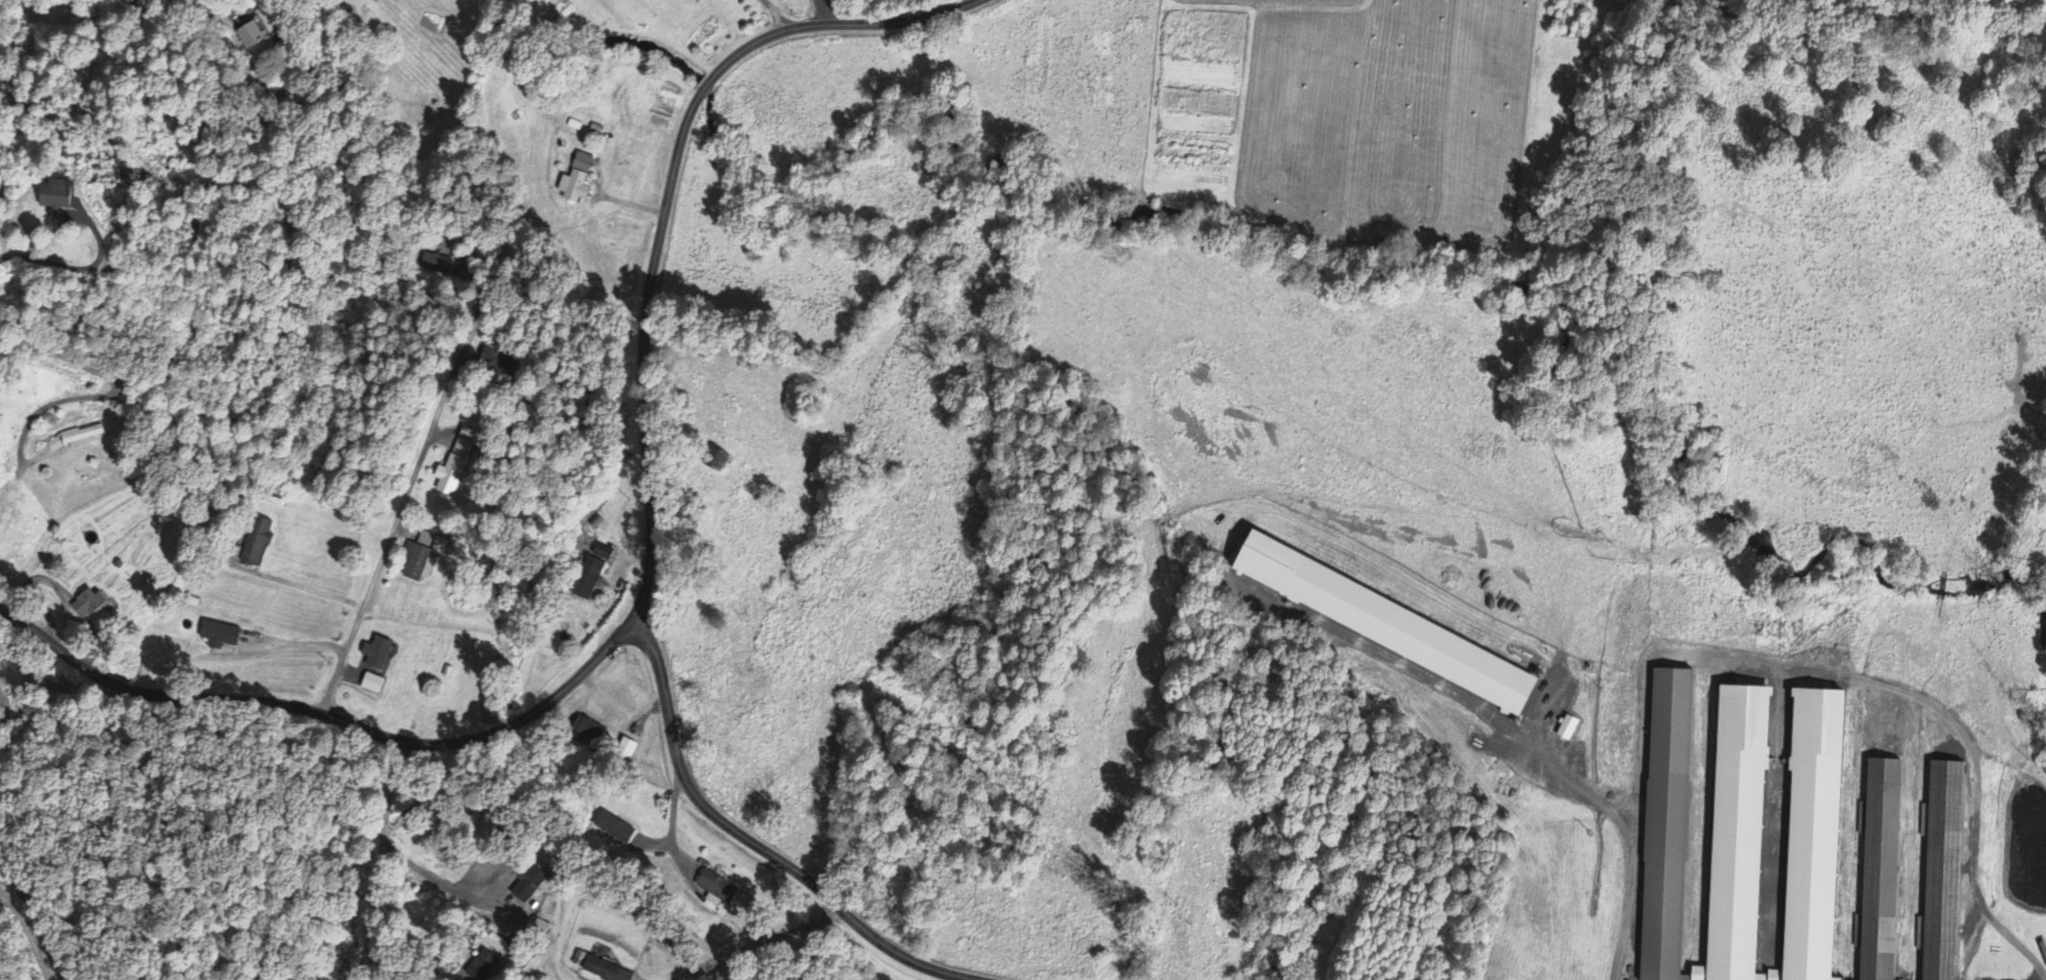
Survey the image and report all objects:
building: (697, 1)
road: (777, 14)
building: (254, 40)
building: (575, 181)
building: (54, 196)
road: (284, 302)
building: (496, 365)
building: (81, 437)
building: (53, 446)
building: (456, 462)
road: (398, 510)
building: (256, 542)
building: (602, 553)
road: (649, 557)
building: (414, 564)
building: (588, 580)
building: (87, 605)
building: (1388, 626)
building: (218, 636)
building: (376, 654)
building: (371, 685)
building: (1567, 728)
building: (586, 731)
building: (1667, 824)
building: (613, 828)
building: (1738, 828)
road: (756, 841)
building: (1881, 869)
building: (1943, 870)
building: (527, 884)
building: (716, 887)
building: (487, 959)
building: (604, 970)

